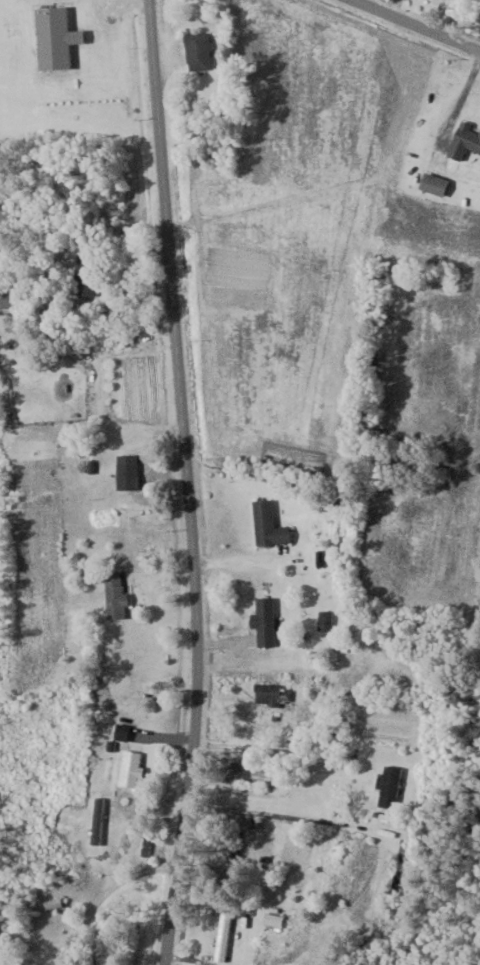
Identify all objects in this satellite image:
road: (415, 26)
building: (54, 38)
building: (197, 52)
building: (464, 141)
building: (433, 183)
building: (80, 270)
building: (126, 470)
road: (188, 482)
building: (267, 523)
building: (114, 594)
building: (263, 619)
building: (324, 619)
building: (272, 693)
building: (129, 767)
building: (388, 786)
road: (364, 829)
building: (49, 904)
road: (81, 916)
building: (220, 937)
road: (190, 959)

